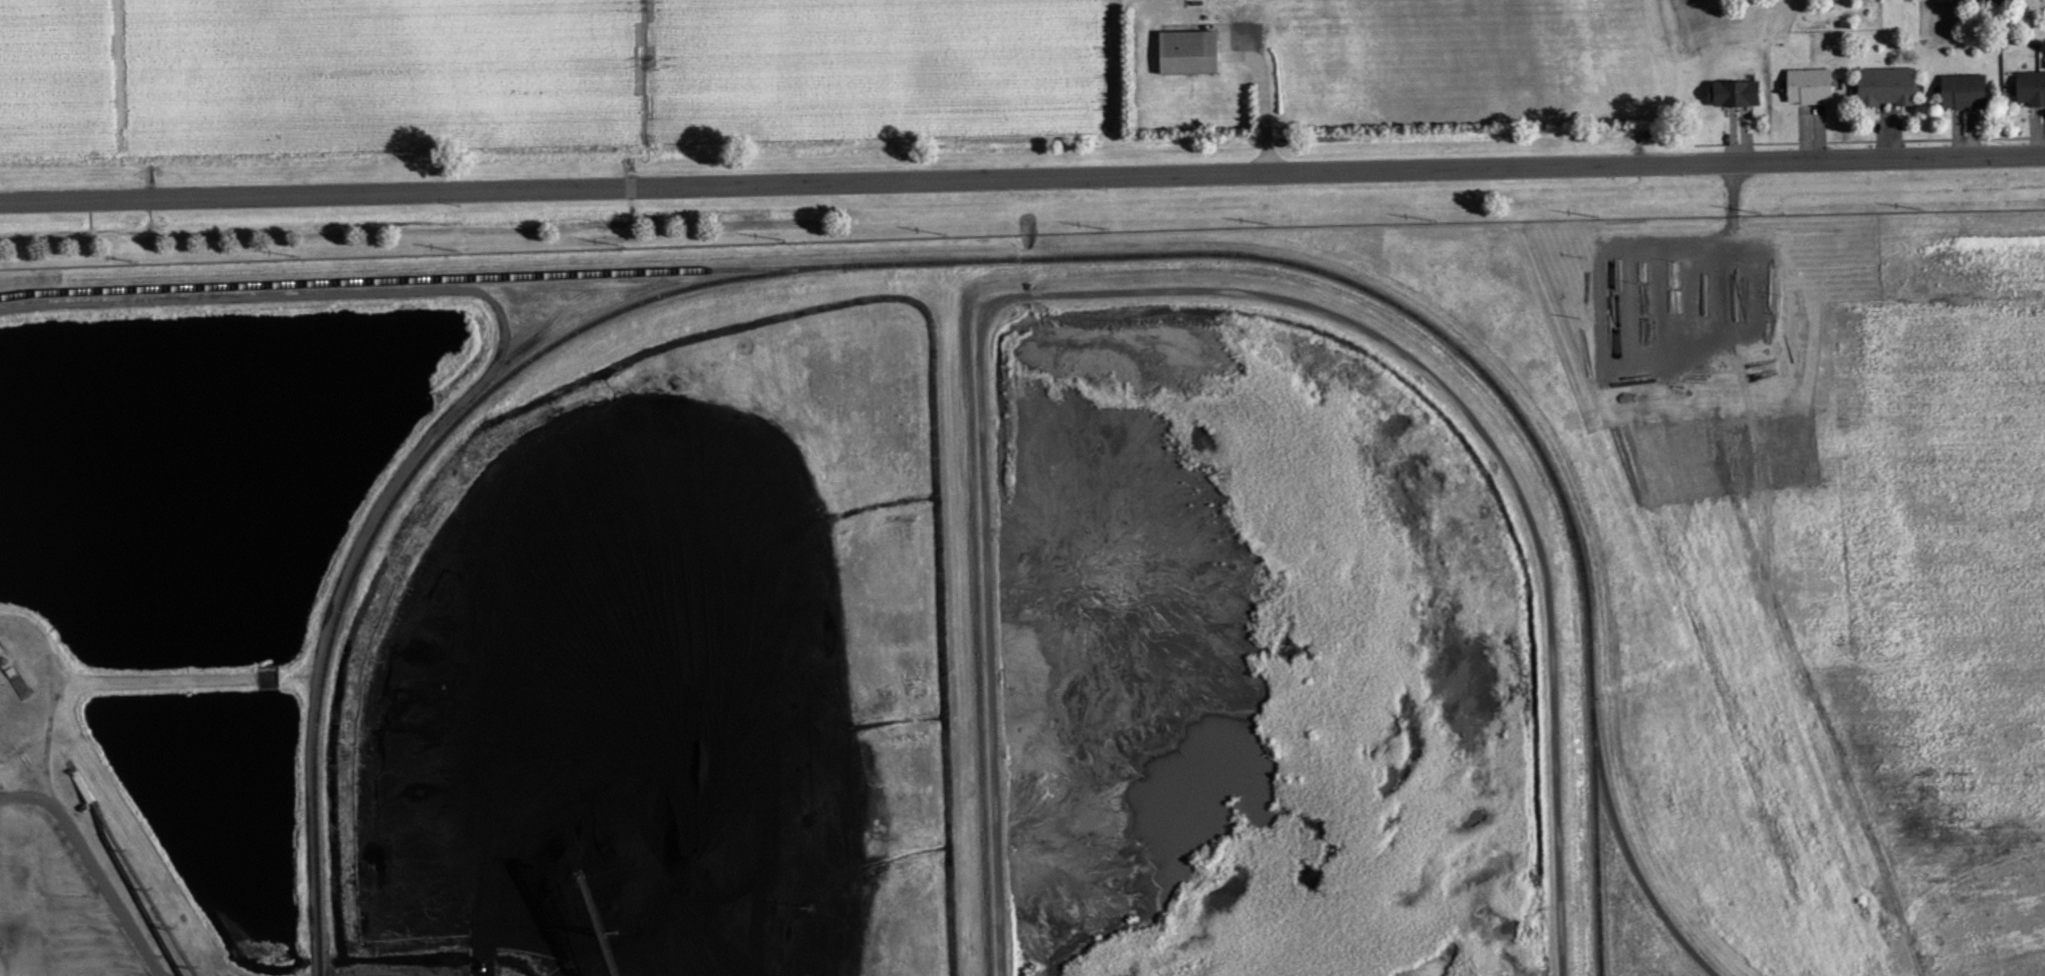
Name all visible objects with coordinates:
building: (1189, 52)
building: (1812, 87)
building: (1888, 87)
building: (2031, 89)
building: (1965, 93)
building: (1736, 95)
road: (1344, 168)
road: (321, 193)
railway: (1093, 256)
railway: (405, 485)
power plant: (802, 616)
railway: (1601, 831)
road: (92, 865)

